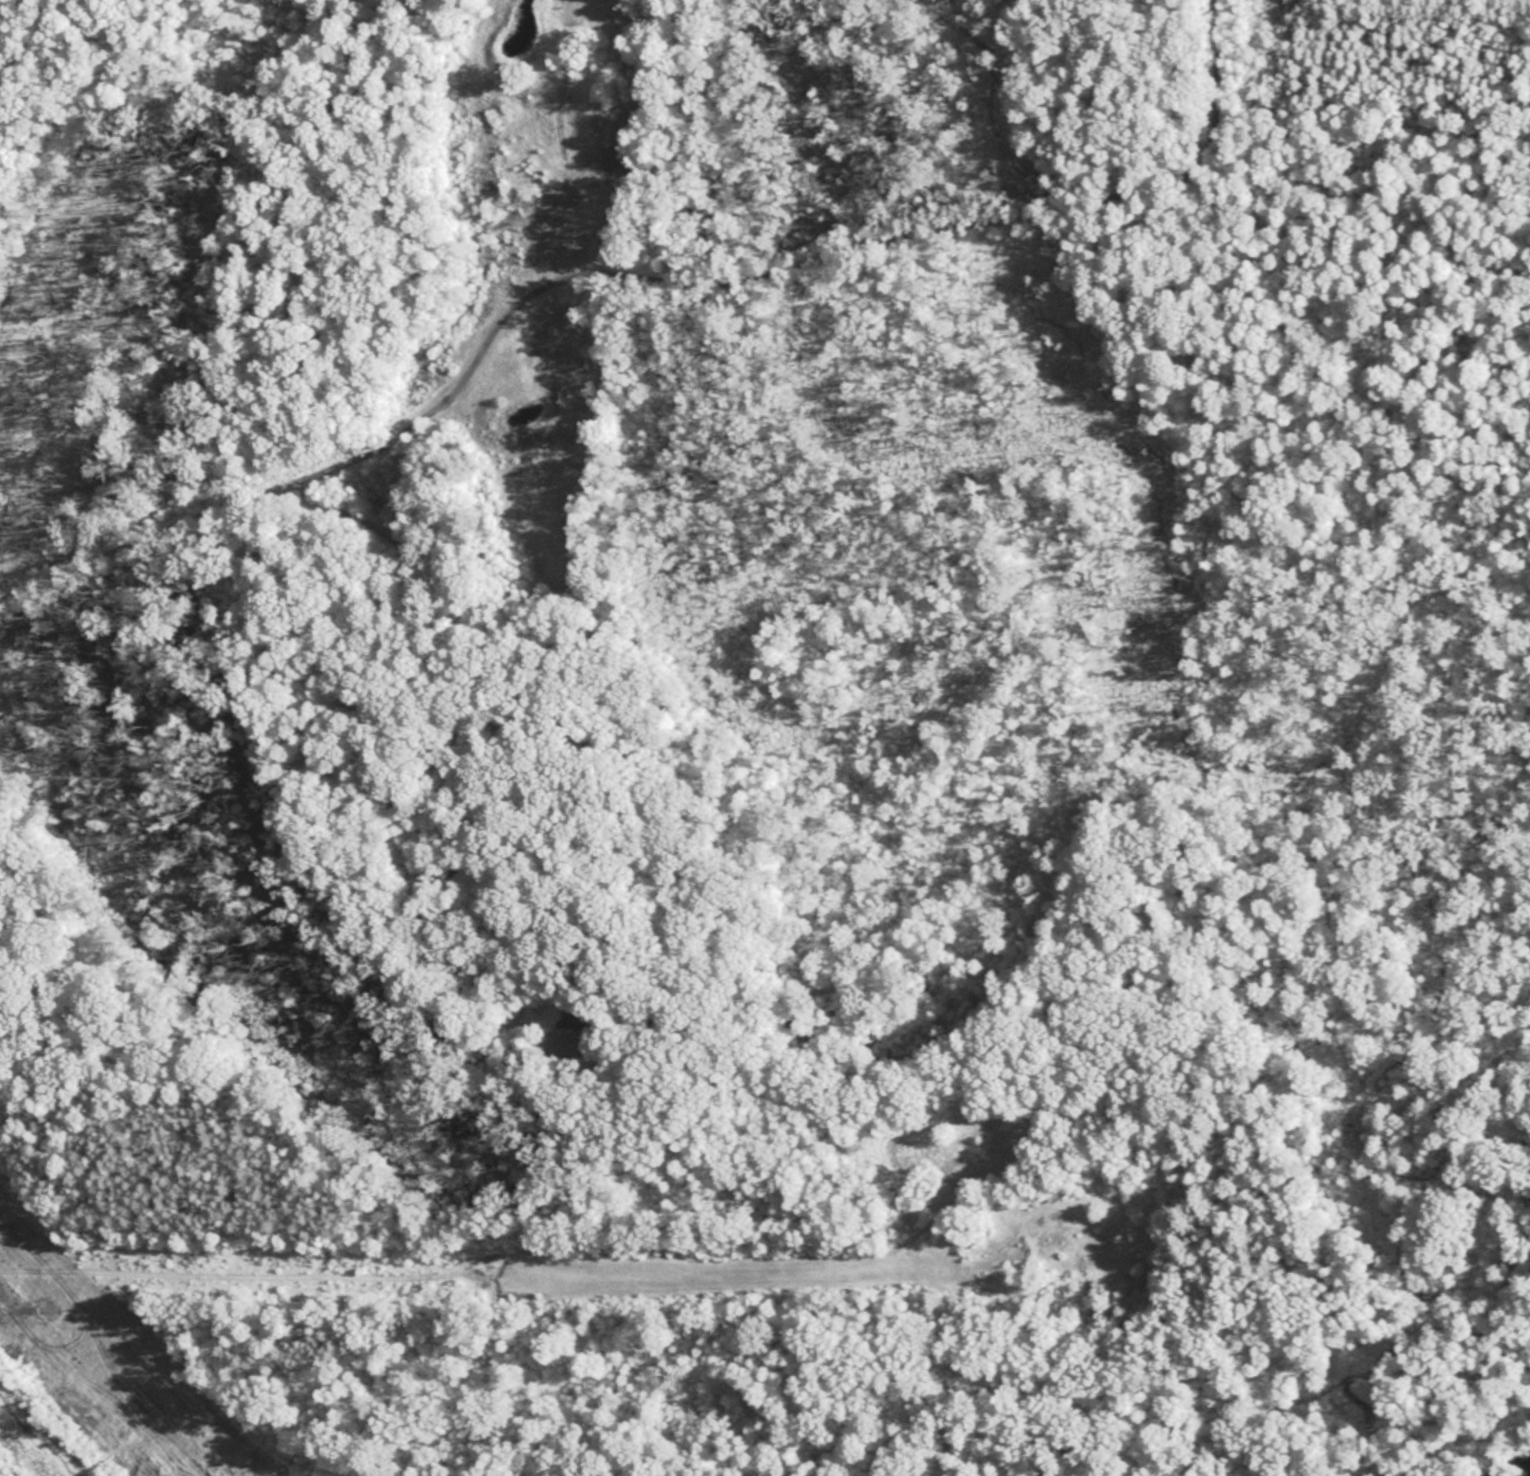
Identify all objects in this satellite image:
road: (643, 280)
road: (828, 987)
building: (568, 1041)
power tower: (51, 1312)

